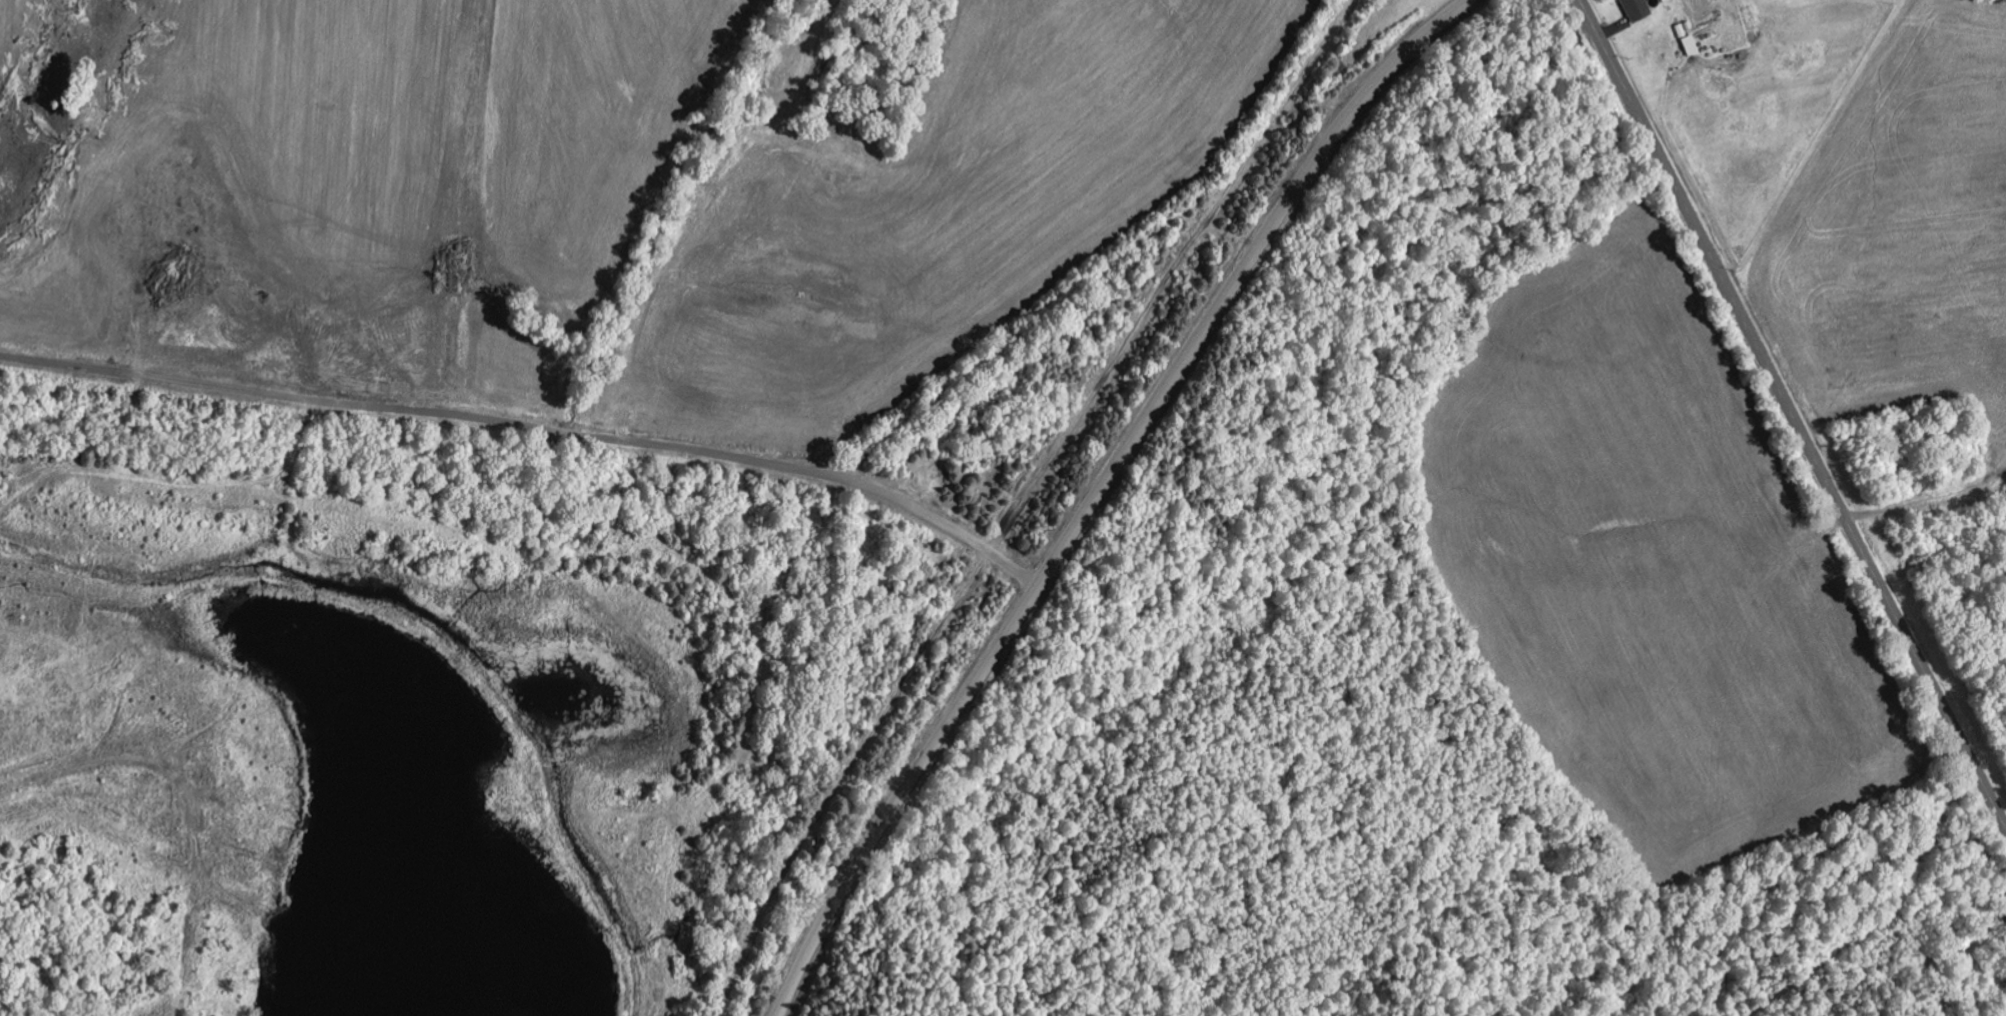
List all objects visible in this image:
building: (1633, 10)
crop: (609, 182)
road: (1792, 412)
road: (531, 427)
road: (1098, 489)

